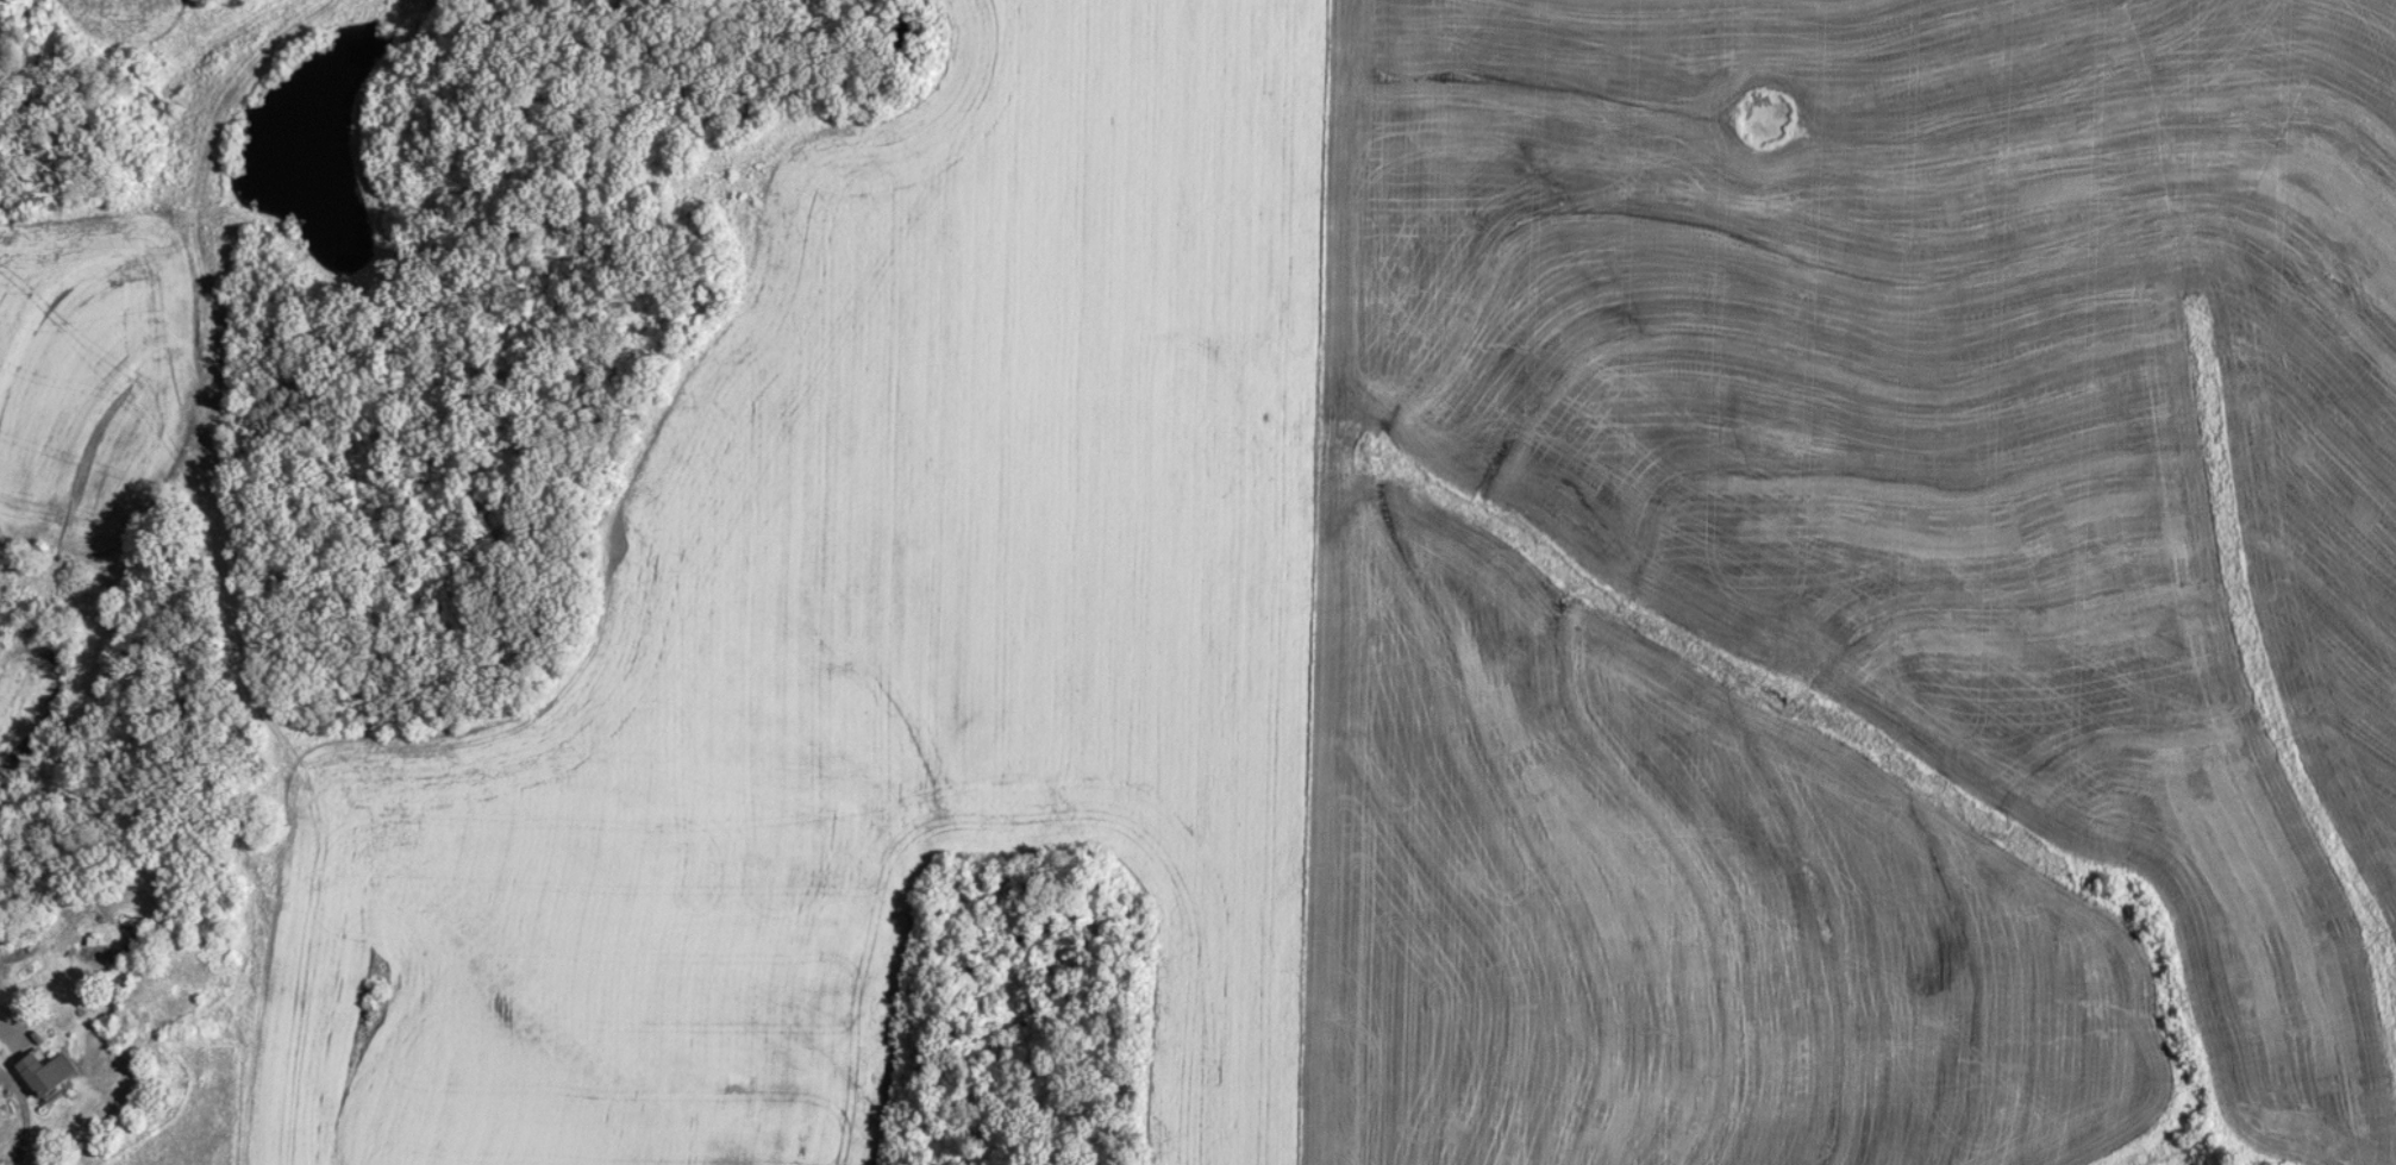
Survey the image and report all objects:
building: (55, 1073)
road: (15, 1132)

